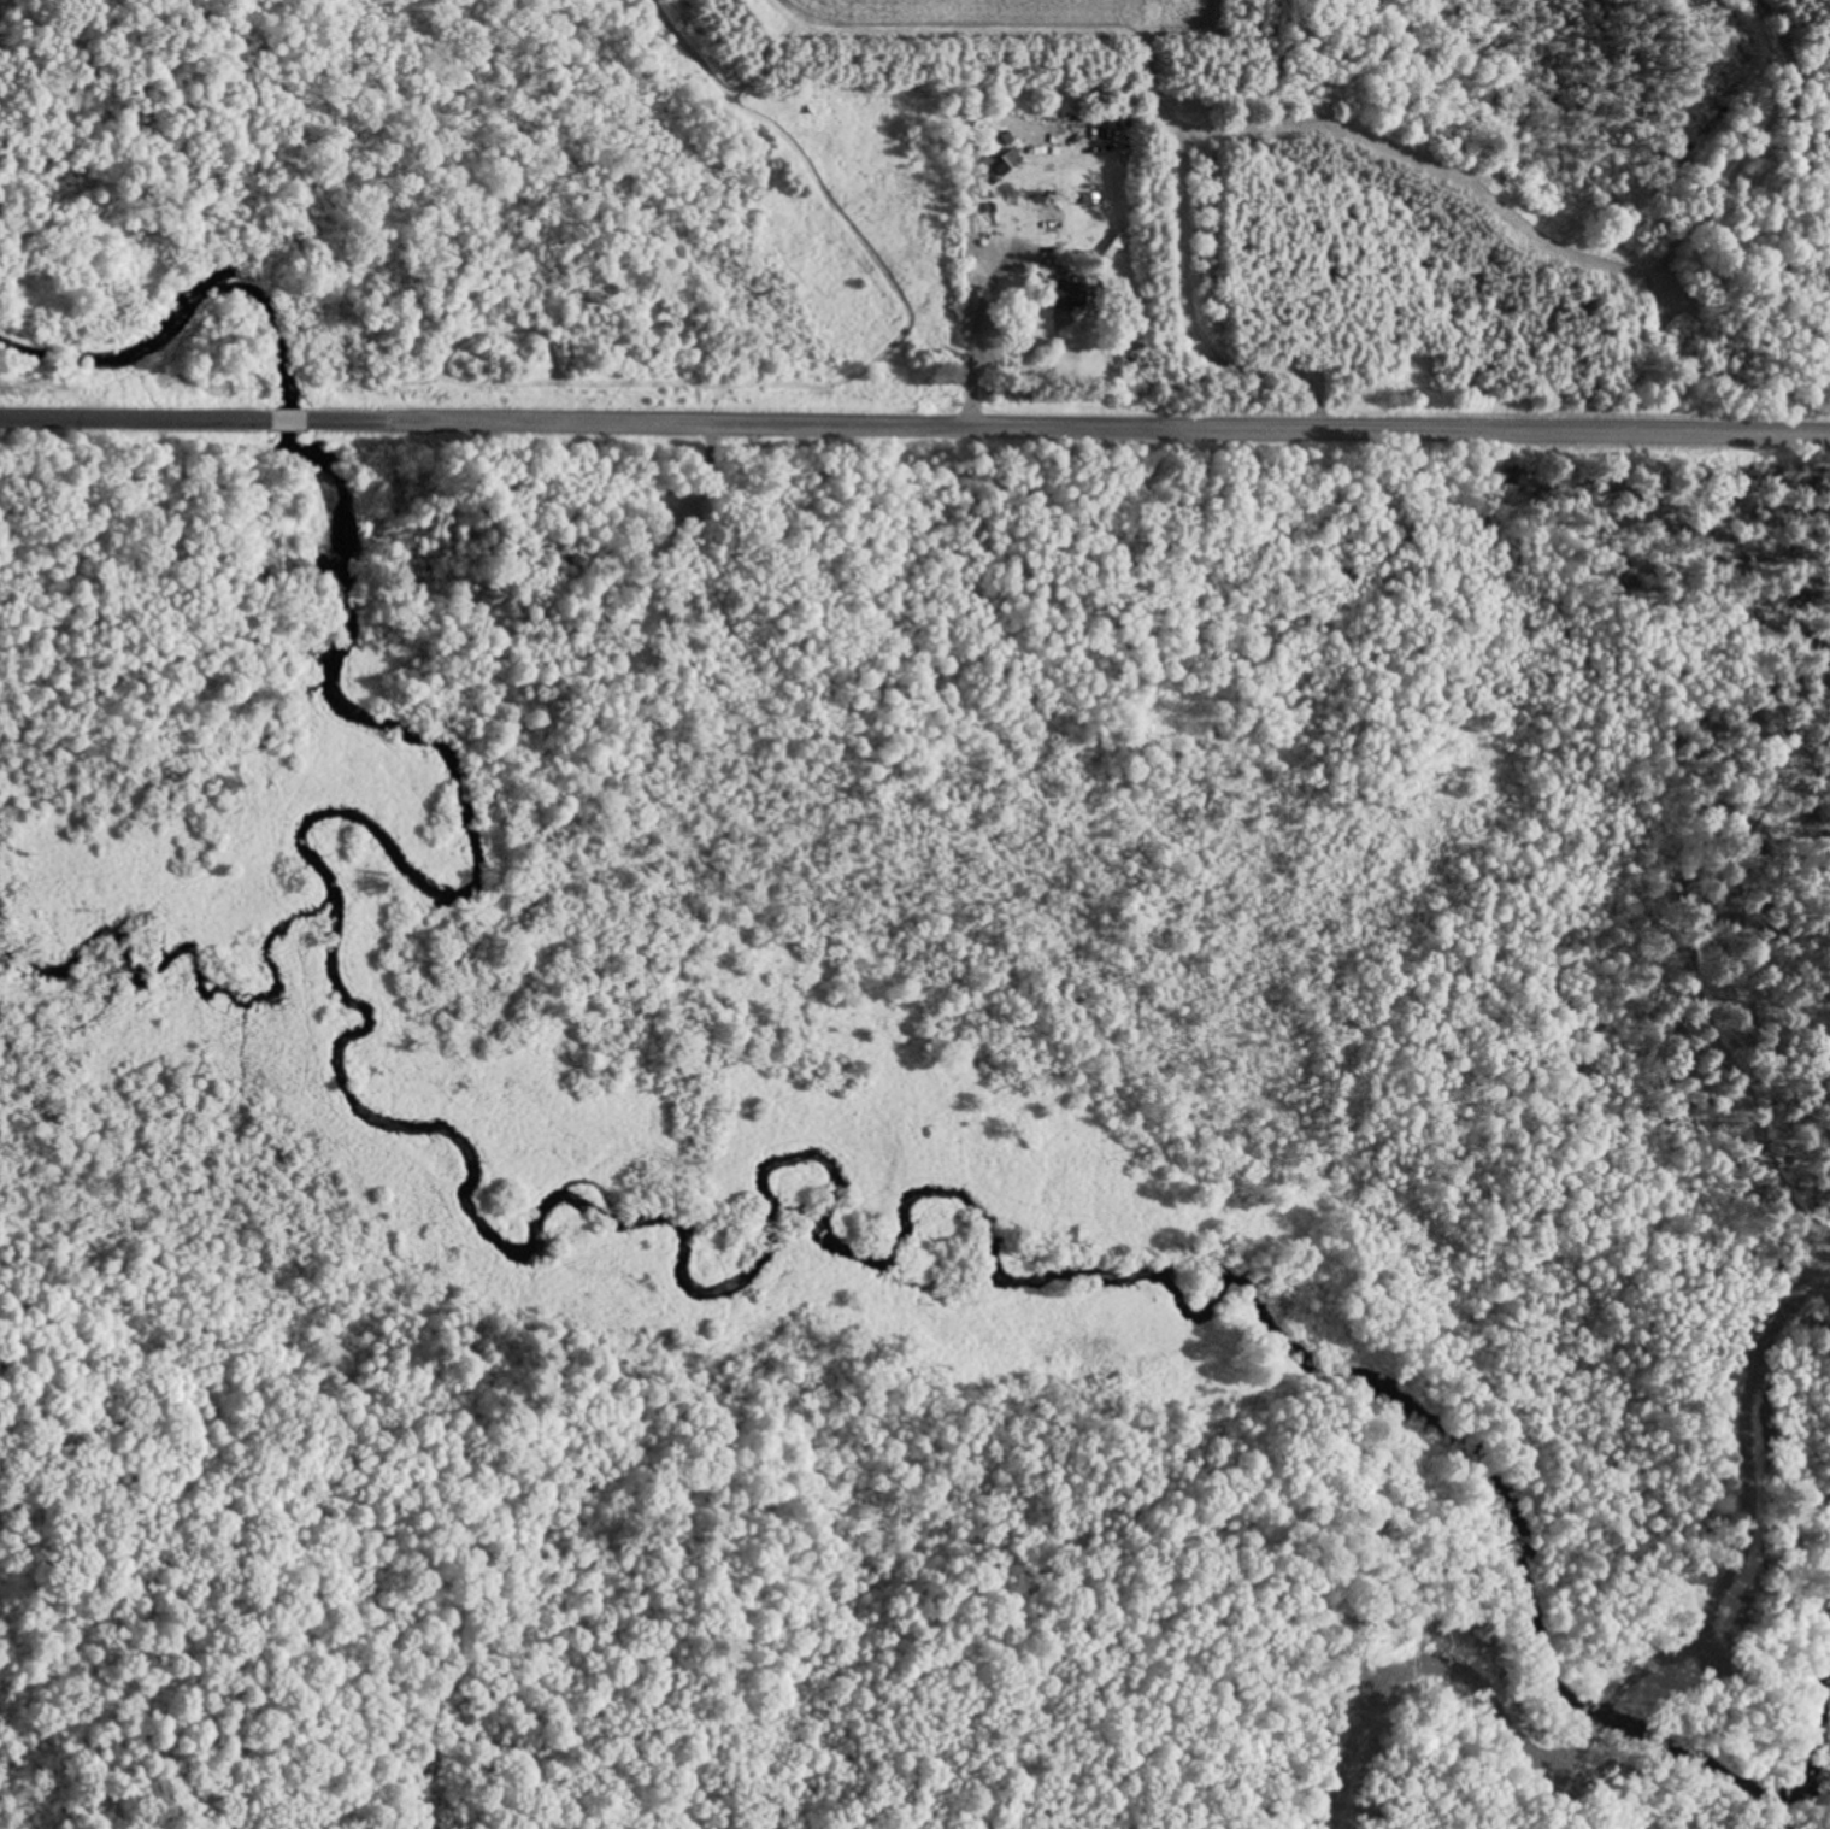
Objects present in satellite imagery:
building: (1031, 127)
building: (1066, 295)
road: (914, 413)
river: (335, 634)
river: (182, 965)
river: (1028, 1264)

